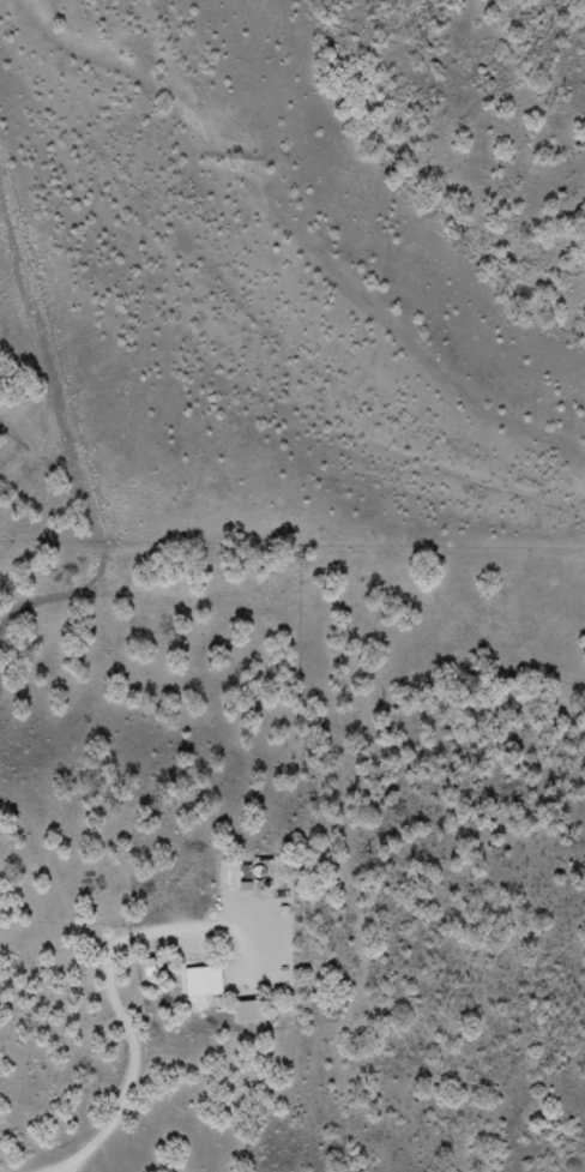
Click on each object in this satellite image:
building: (206, 982)

